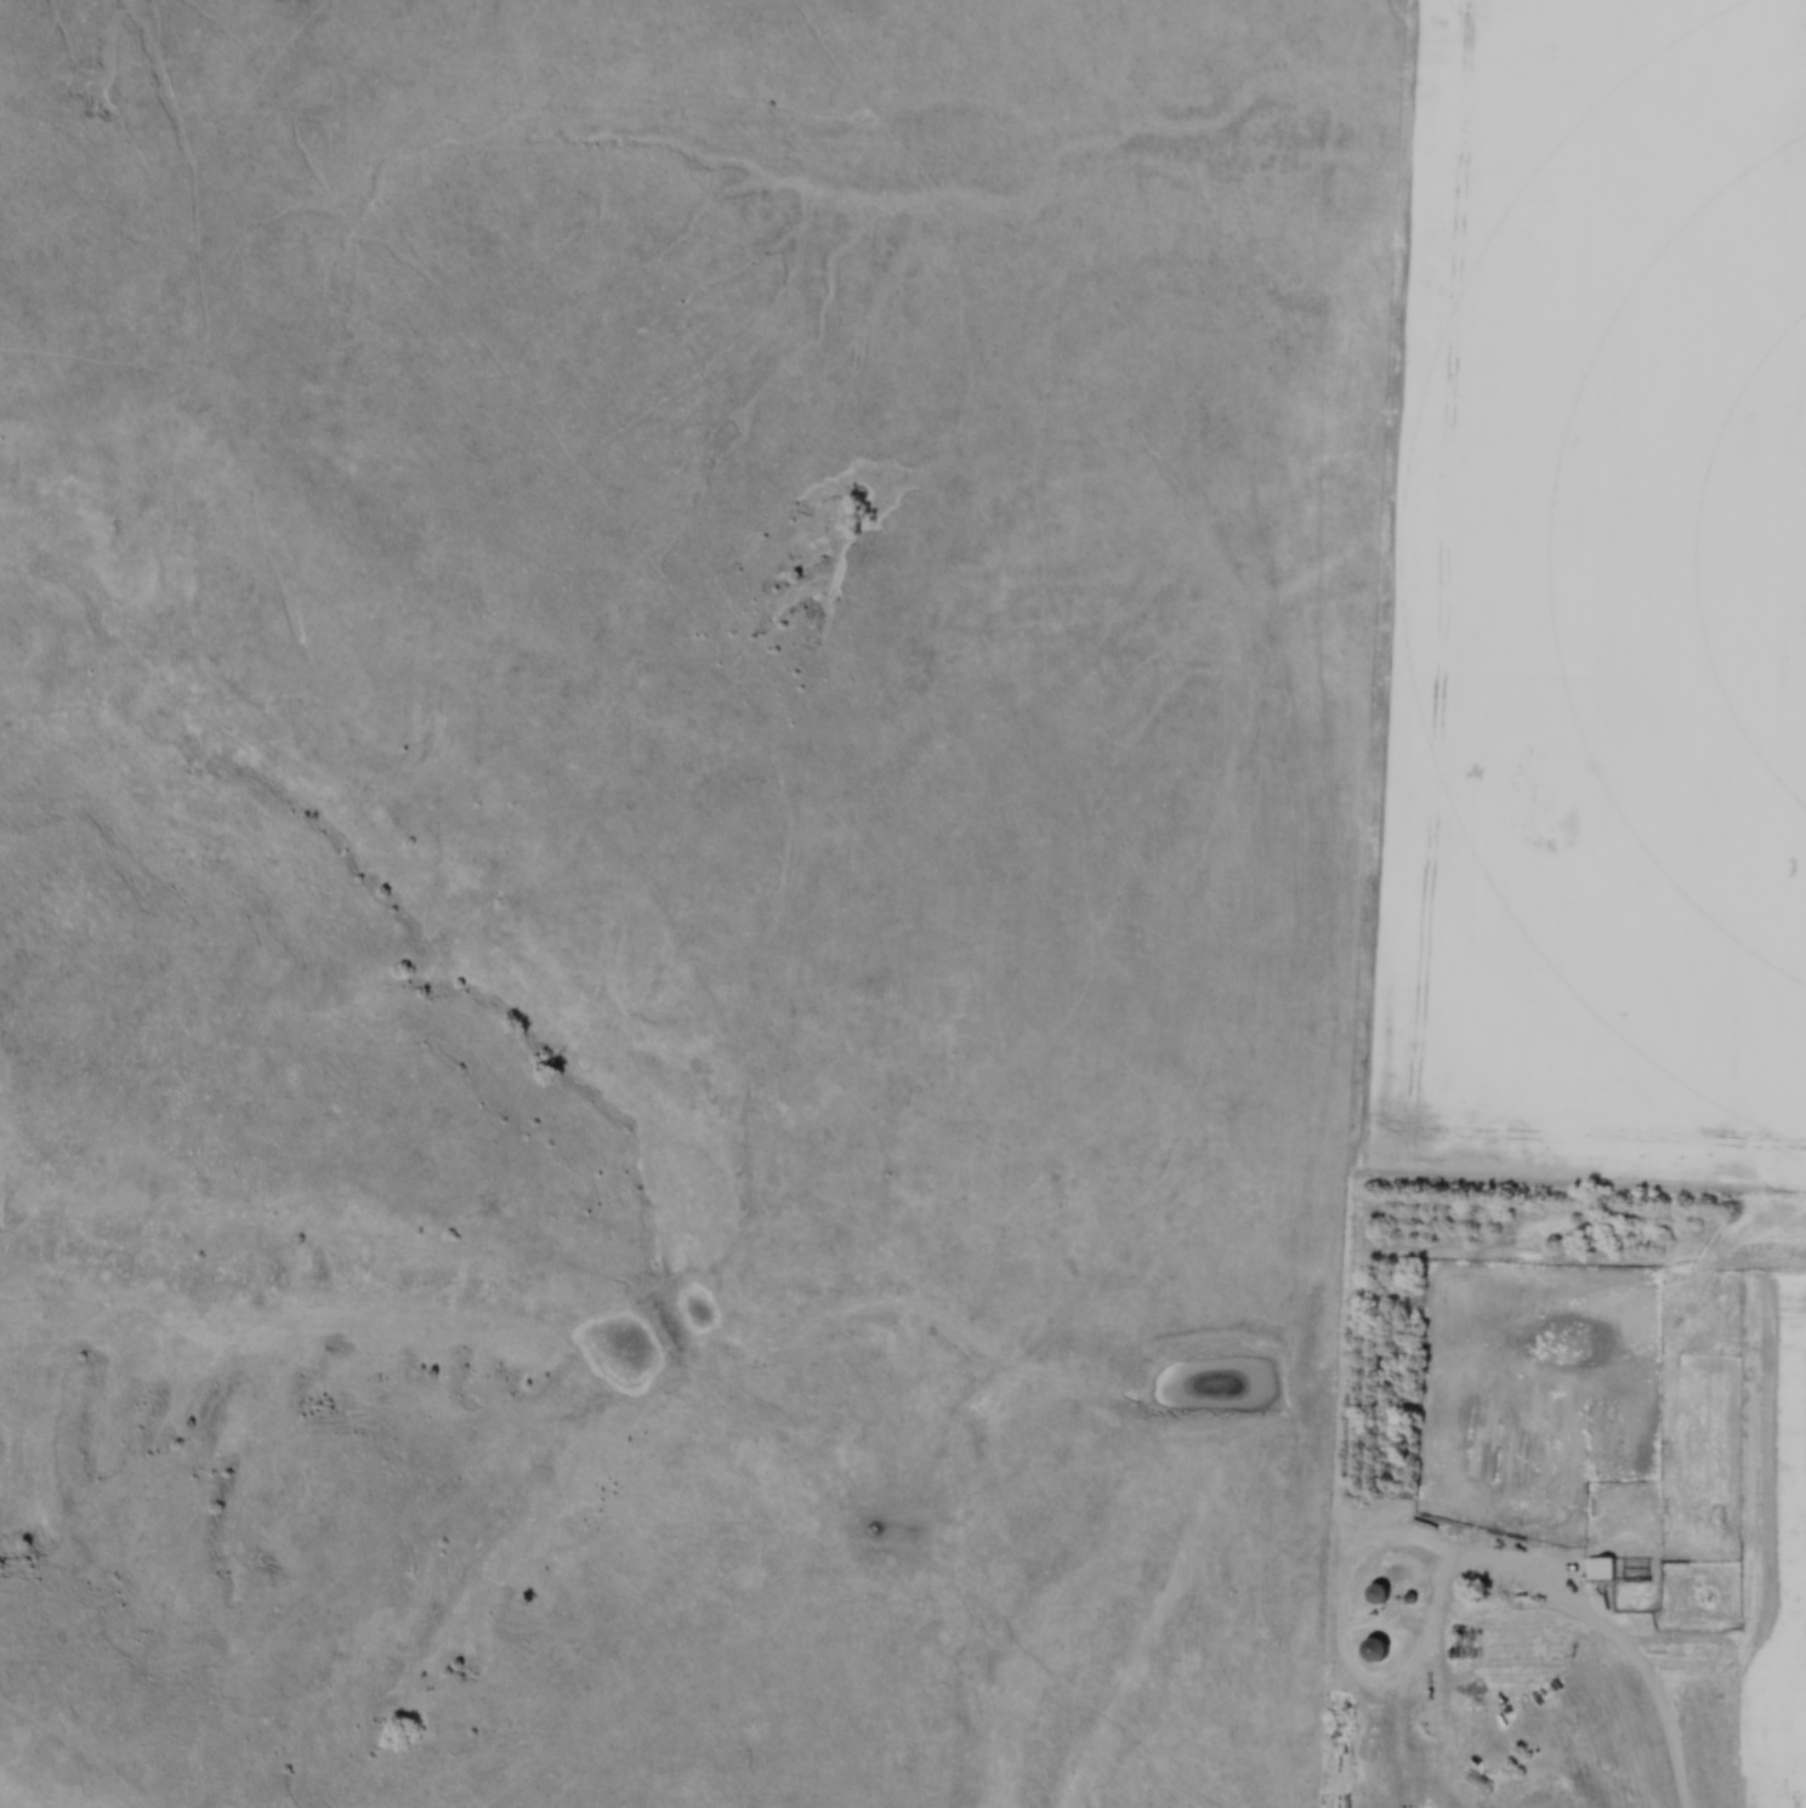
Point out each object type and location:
building: (1600, 1569)
building: (1378, 1592)
building: (1374, 1649)
road: (1664, 1704)

